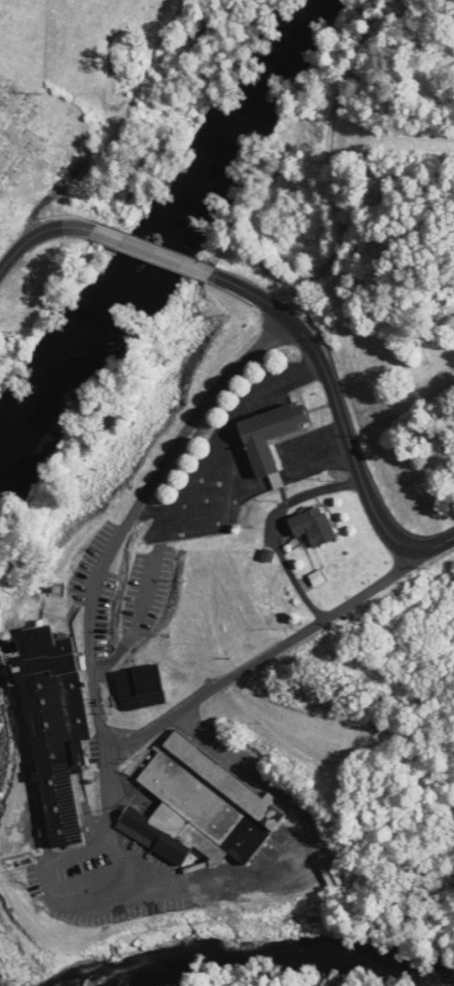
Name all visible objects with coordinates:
river: (256, 78)
road: (36, 236)
road: (150, 253)
river: (90, 314)
road: (339, 421)
building: (266, 435)
road: (223, 436)
road: (210, 495)
road: (227, 513)
building: (308, 527)
road: (274, 528)
road: (131, 624)
dam: (2, 653)
road: (89, 675)
building: (138, 687)
building: (52, 729)
road: (109, 745)
road: (107, 793)
building: (198, 808)
road: (294, 872)
river: (262, 945)

